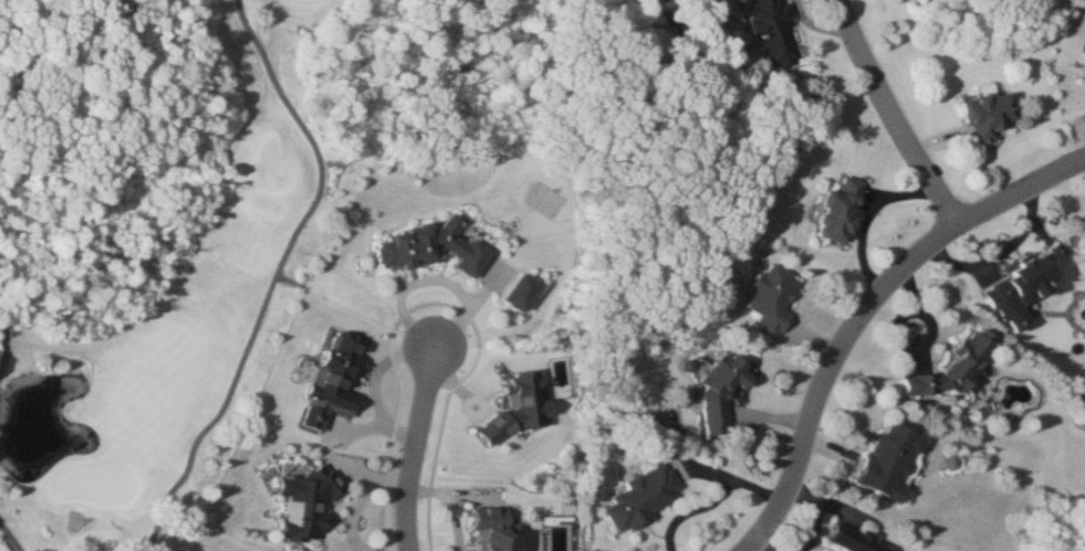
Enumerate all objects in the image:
building: (775, 32)
road: (893, 115)
building: (992, 116)
building: (842, 212)
road: (869, 215)
park: (171, 234)
road: (277, 276)
building: (1026, 289)
building: (774, 301)
road: (864, 310)
road: (4, 343)
building: (974, 354)
building: (724, 391)
road: (415, 447)
building: (894, 463)
park: (94, 478)
building: (644, 498)
building: (311, 502)
road: (10, 537)
building: (856, 540)

